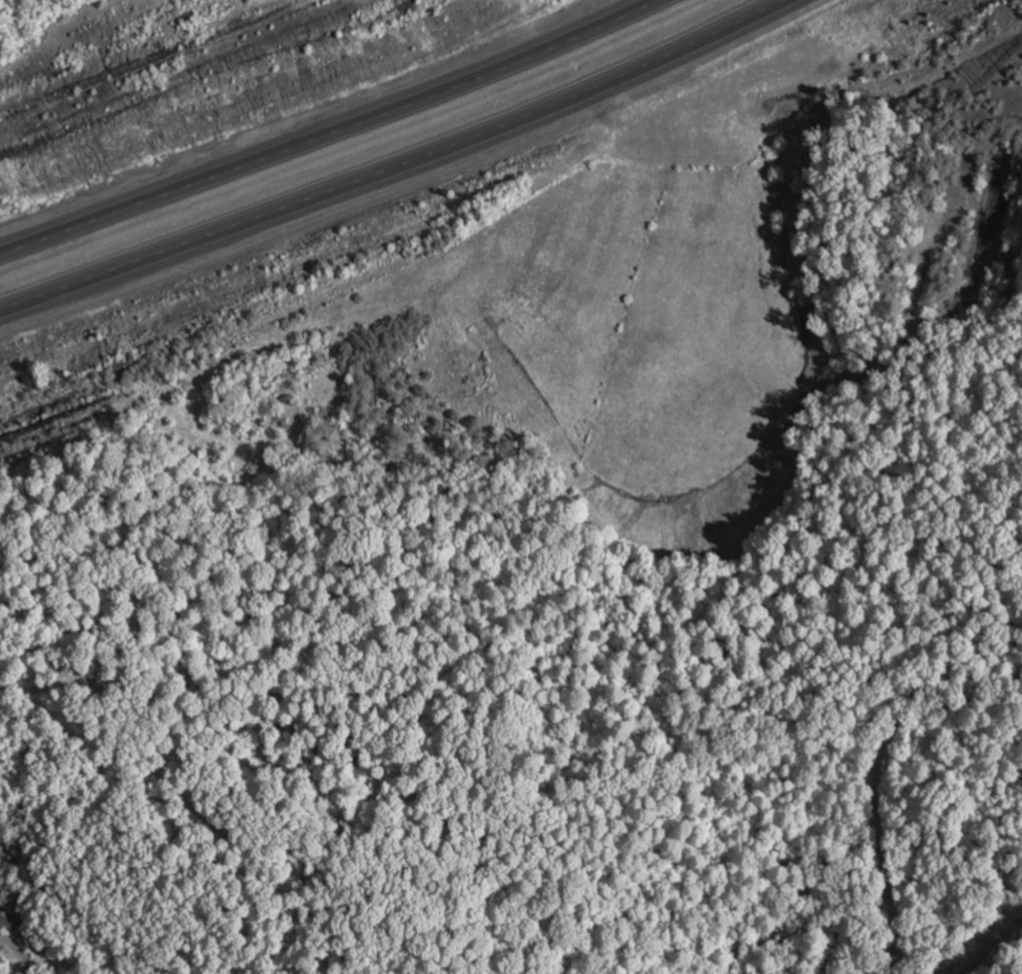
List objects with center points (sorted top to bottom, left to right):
road: (328, 131)
road: (401, 169)
building: (7, 919)

